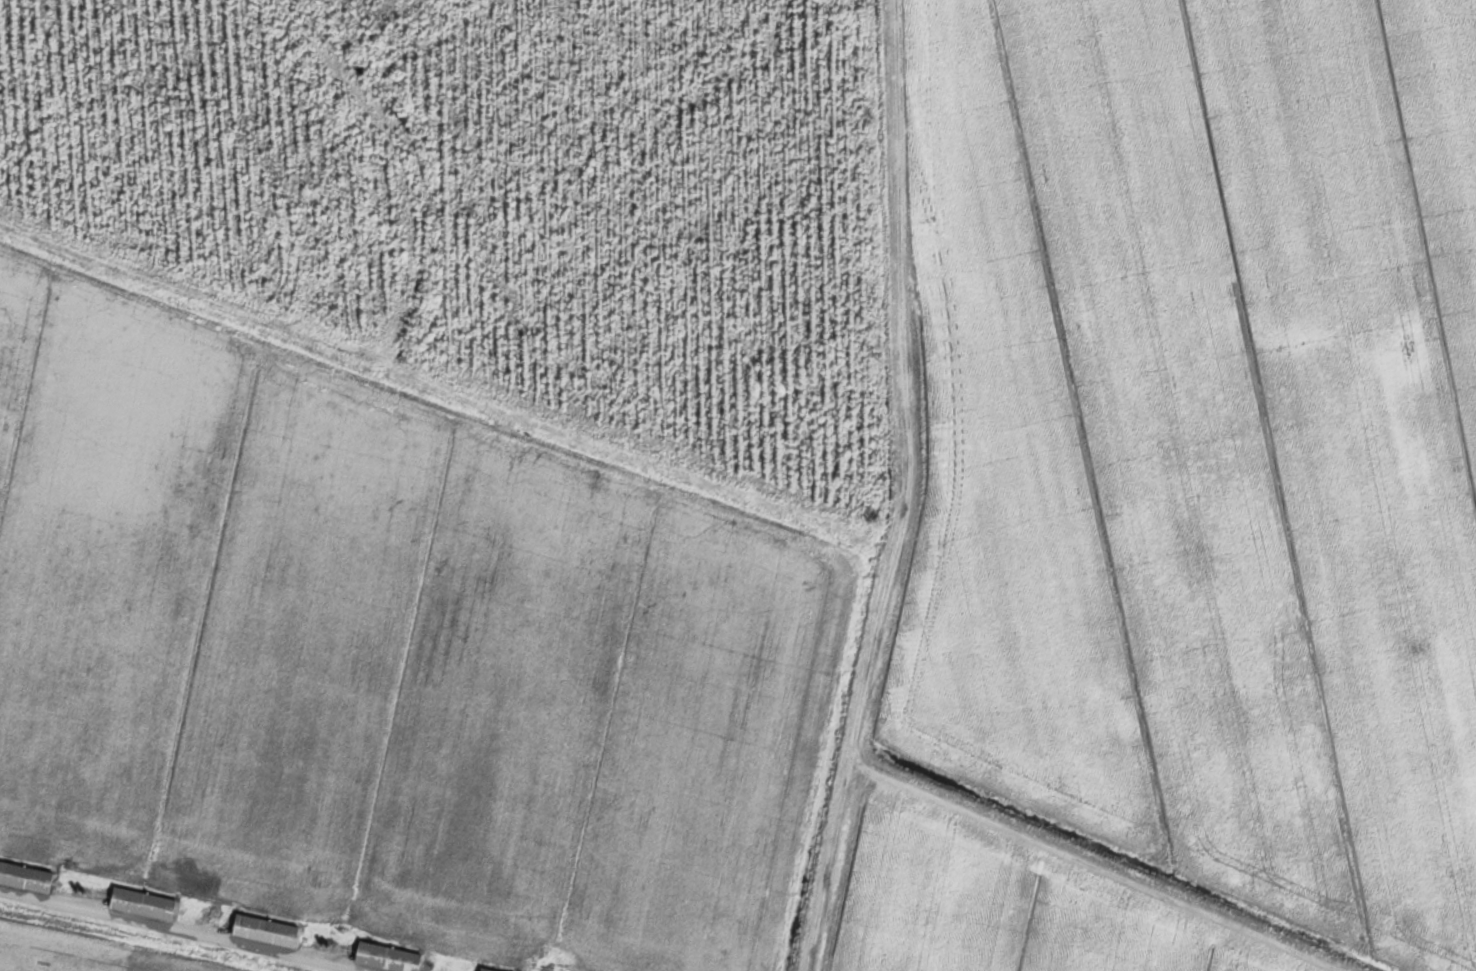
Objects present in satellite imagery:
road: (908, 490)
building: (24, 878)
building: (139, 904)
road: (181, 931)
building: (262, 931)
building: (383, 957)
building: (481, 969)

